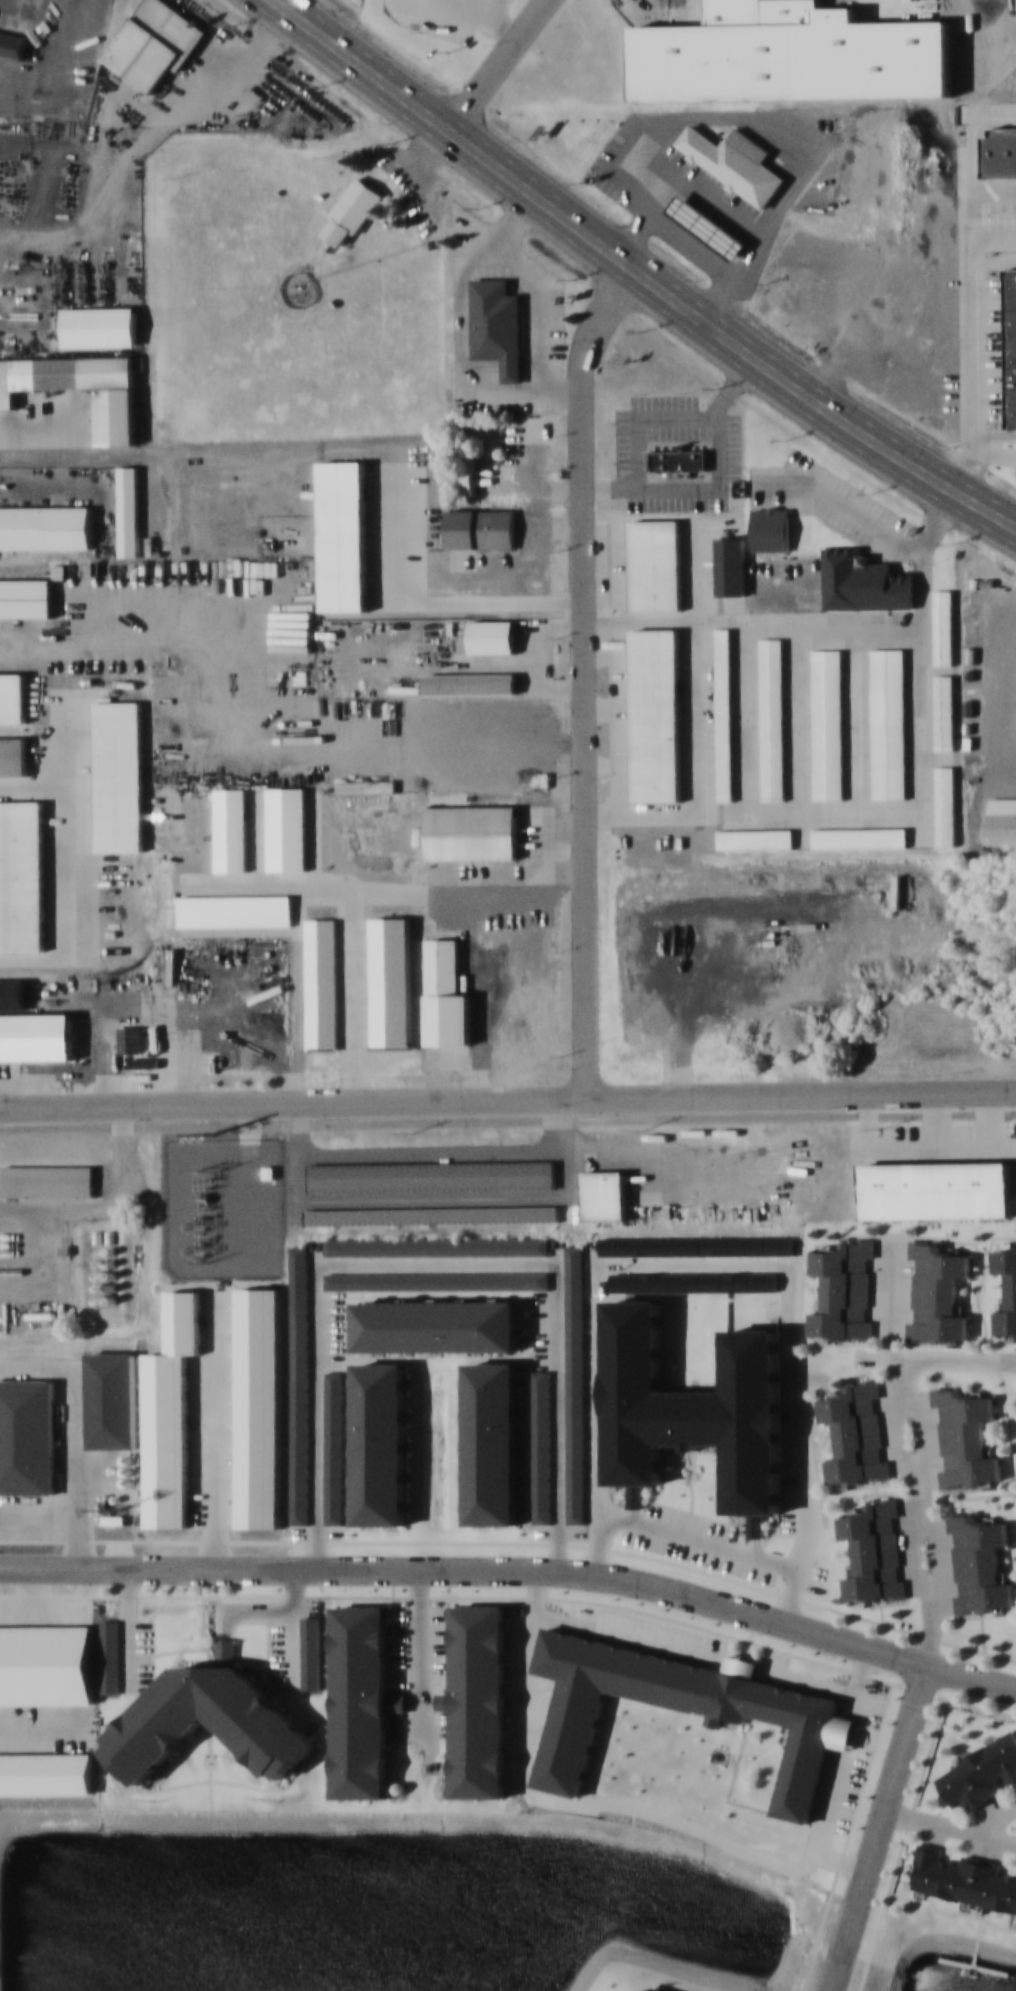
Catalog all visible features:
building: (154, 42)
building: (13, 43)
road: (499, 64)
building: (834, 169)
building: (1, 171)
building: (631, 186)
building: (353, 211)
road: (639, 272)
building: (498, 324)
building: (99, 325)
building: (1004, 345)
building: (116, 398)
building: (680, 460)
building: (468, 468)
building: (129, 510)
building: (45, 527)
building: (481, 528)
building: (771, 528)
building: (656, 564)
building: (730, 565)
building: (863, 581)
building: (26, 597)
building: (943, 626)
building: (493, 635)
road: (51, 649)
road: (584, 675)
building: (471, 683)
building: (13, 697)
building: (944, 712)
building: (724, 713)
building: (656, 715)
building: (772, 718)
building: (888, 723)
building: (827, 724)
building: (13, 756)
building: (119, 776)
building: (945, 806)
building: (1001, 821)
building: (287, 828)
building: (232, 829)
building: (472, 832)
building: (859, 838)
building: (755, 839)
building: (21, 874)
building: (236, 910)
road: (351, 918)
building: (443, 967)
building: (391, 980)
building: (322, 982)
building: (13, 993)
building: (130, 1038)
road: (508, 1100)
road: (508, 1121)
power tower: (207, 1171)
building: (431, 1175)
building: (49, 1180)
building: (936, 1189)
building: (605, 1195)
power substation: (222, 1207)
building: (429, 1215)
building: (437, 1246)
building: (437, 1280)
building: (1006, 1288)
building: (842, 1291)
building: (937, 1292)
building: (437, 1325)
building: (300, 1385)
building: (575, 1385)
building: (854, 1434)
building: (27, 1436)
building: (965, 1437)
building: (493, 1443)
building: (381, 1444)
building: (542, 1446)
building: (334, 1447)
road: (918, 1512)
building: (873, 1551)
building: (979, 1563)
road: (515, 1568)
building: (311, 1652)
building: (110, 1656)
building: (211, 1691)
building: (362, 1700)
building: (481, 1700)
building: (809, 1724)
building: (982, 1771)
road: (878, 1826)
building: (965, 1880)

